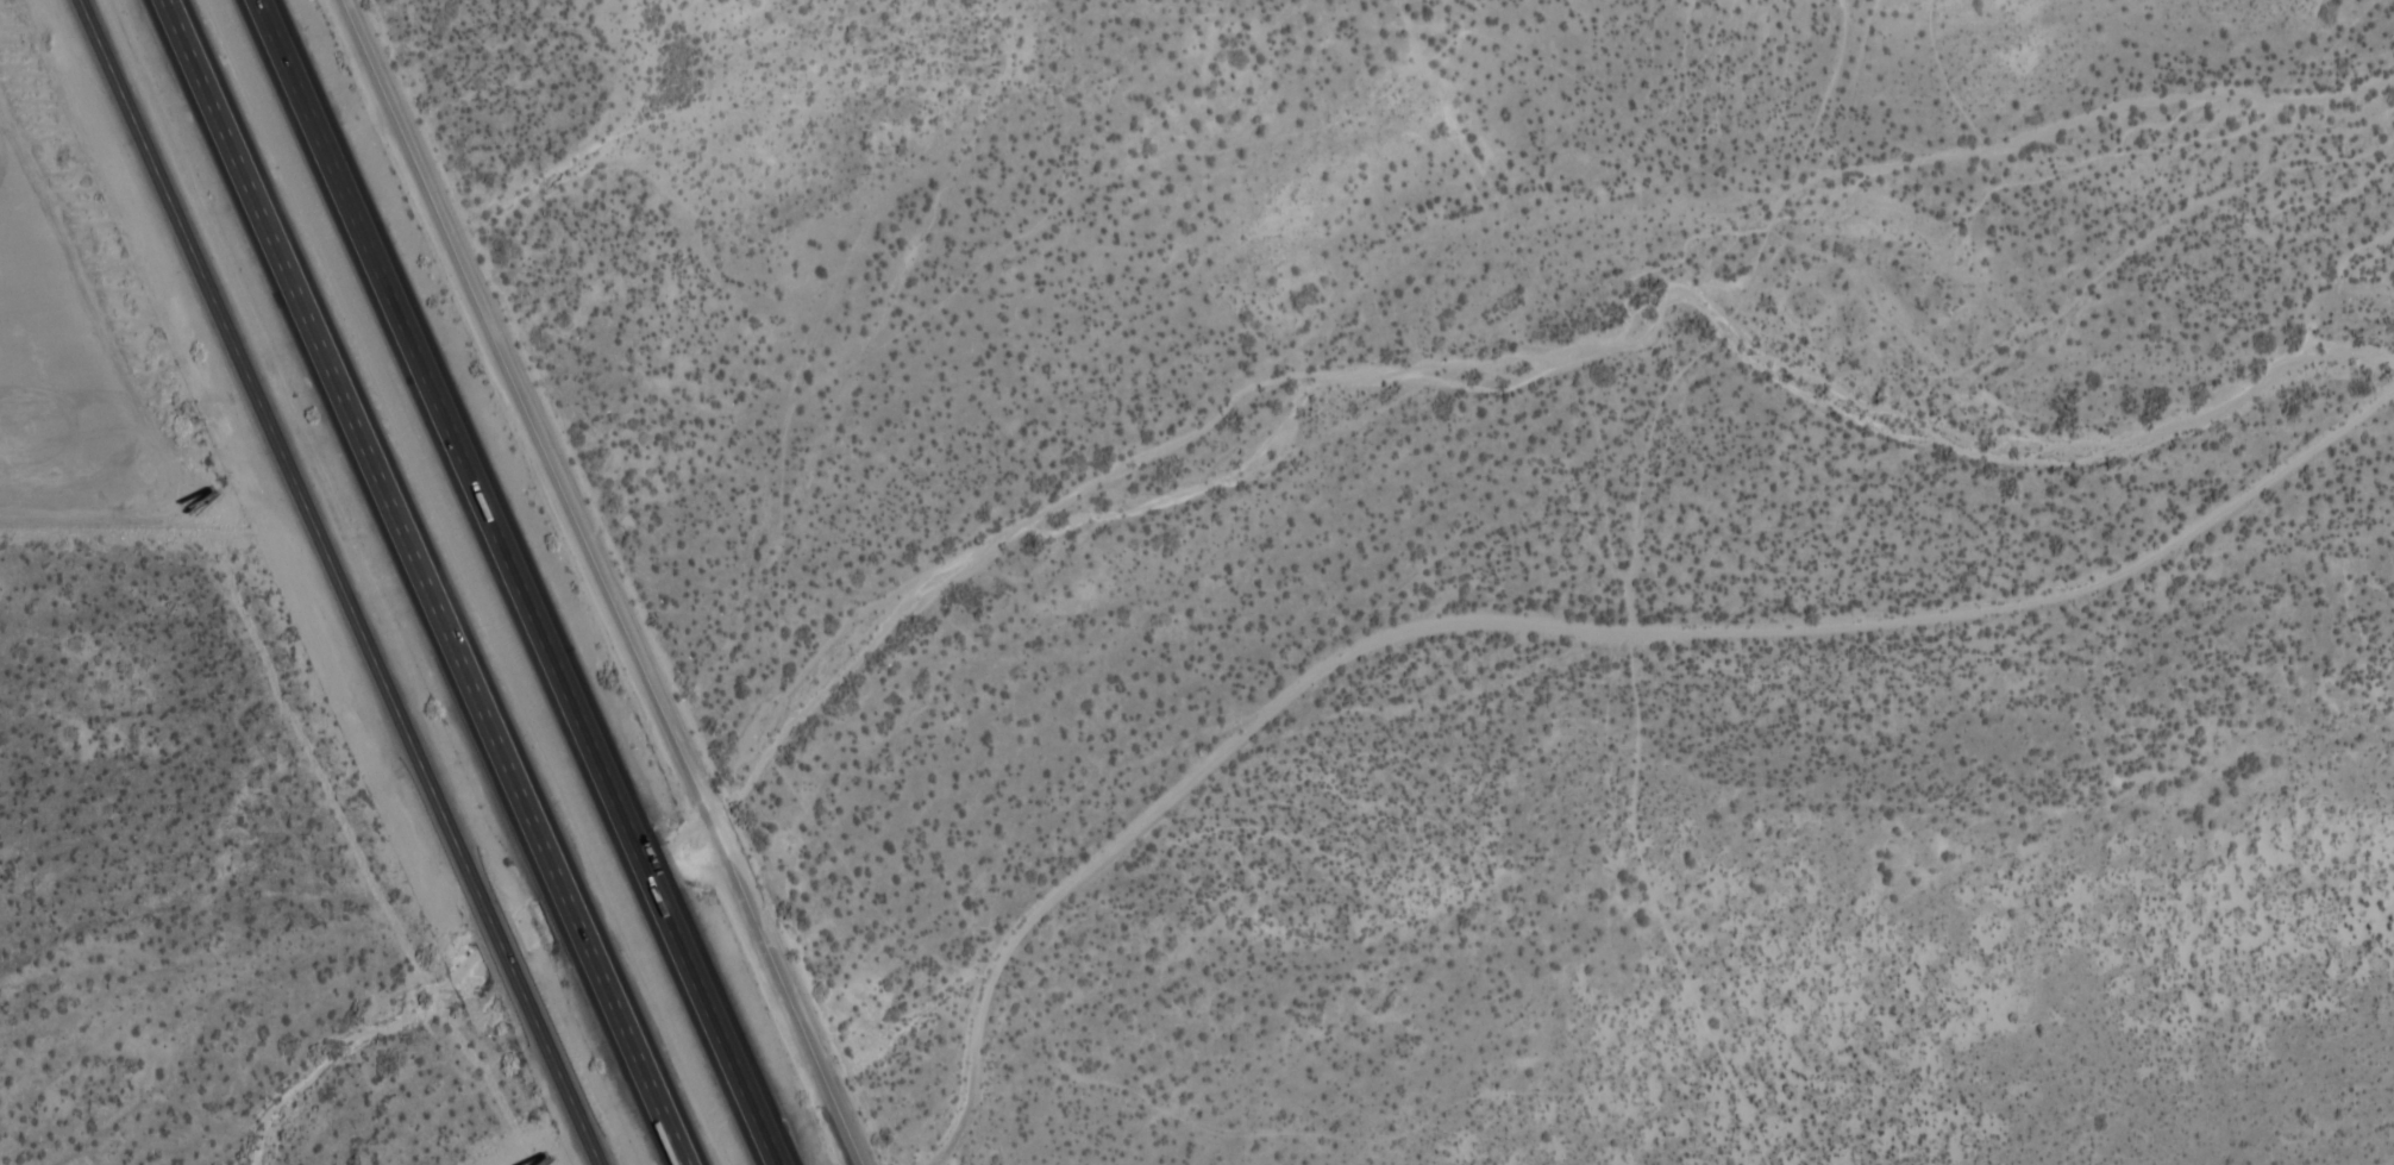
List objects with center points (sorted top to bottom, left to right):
road: (337, 582)
road: (421, 582)
road: (518, 582)
road: (607, 582)
road: (1930, 770)

